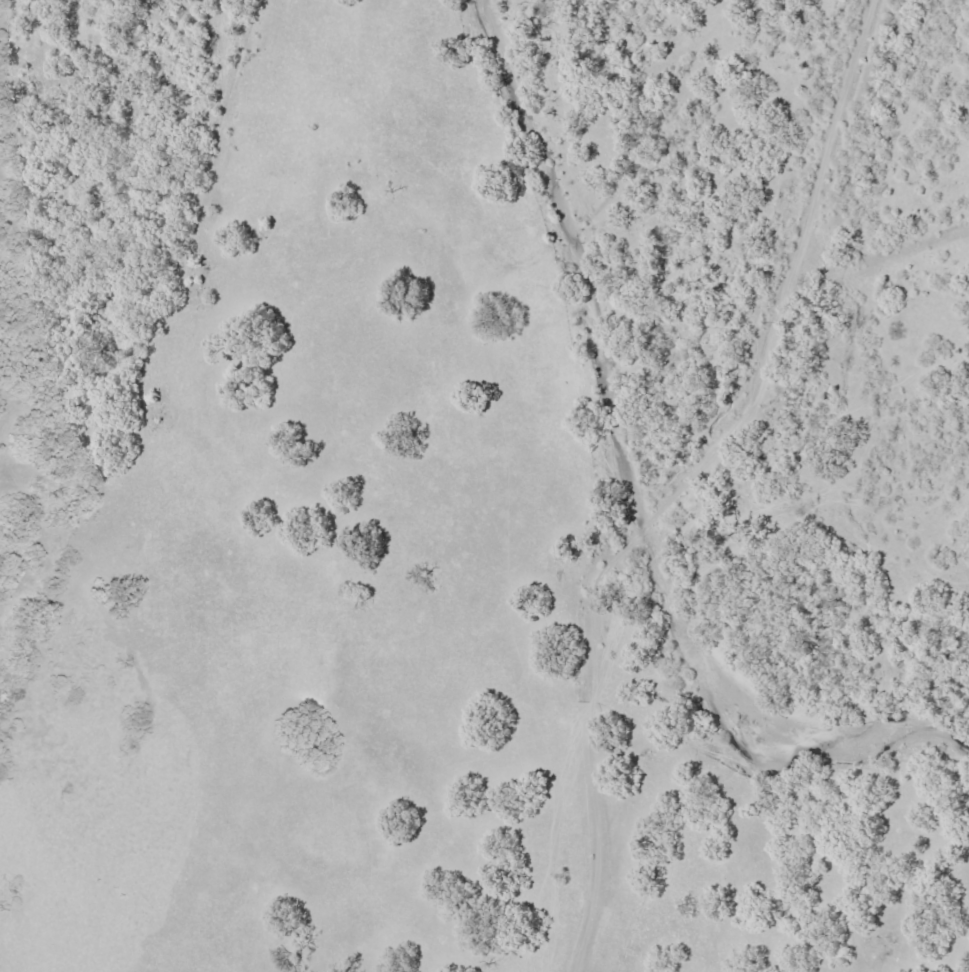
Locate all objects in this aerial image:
road: (428, 468)
road: (630, 472)

